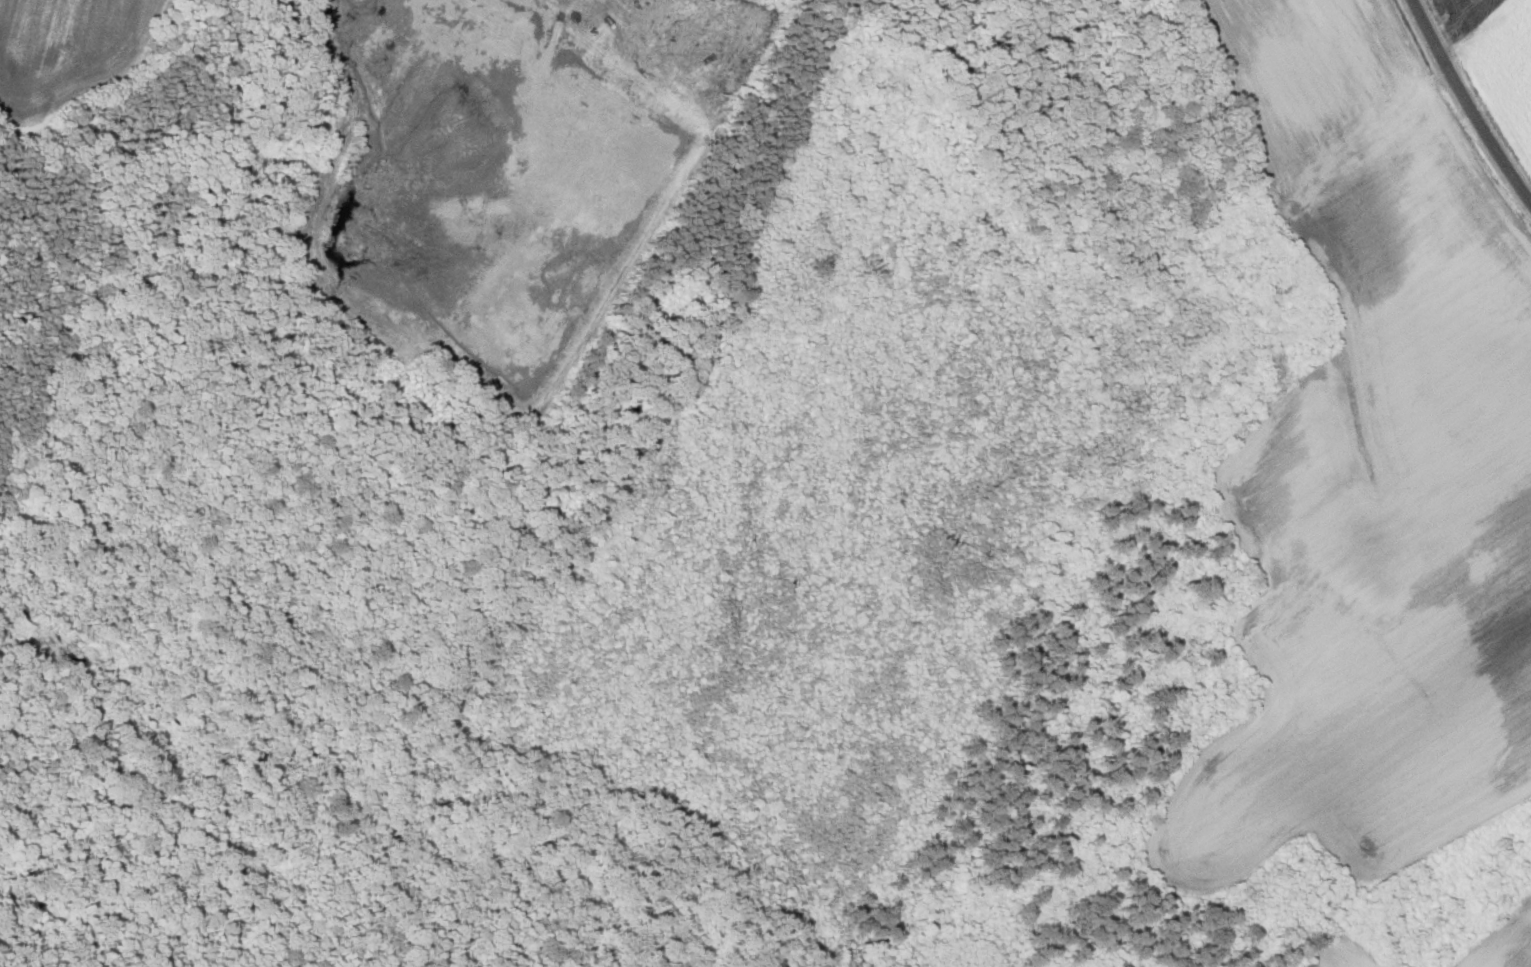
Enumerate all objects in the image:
road: (1456, 113)

